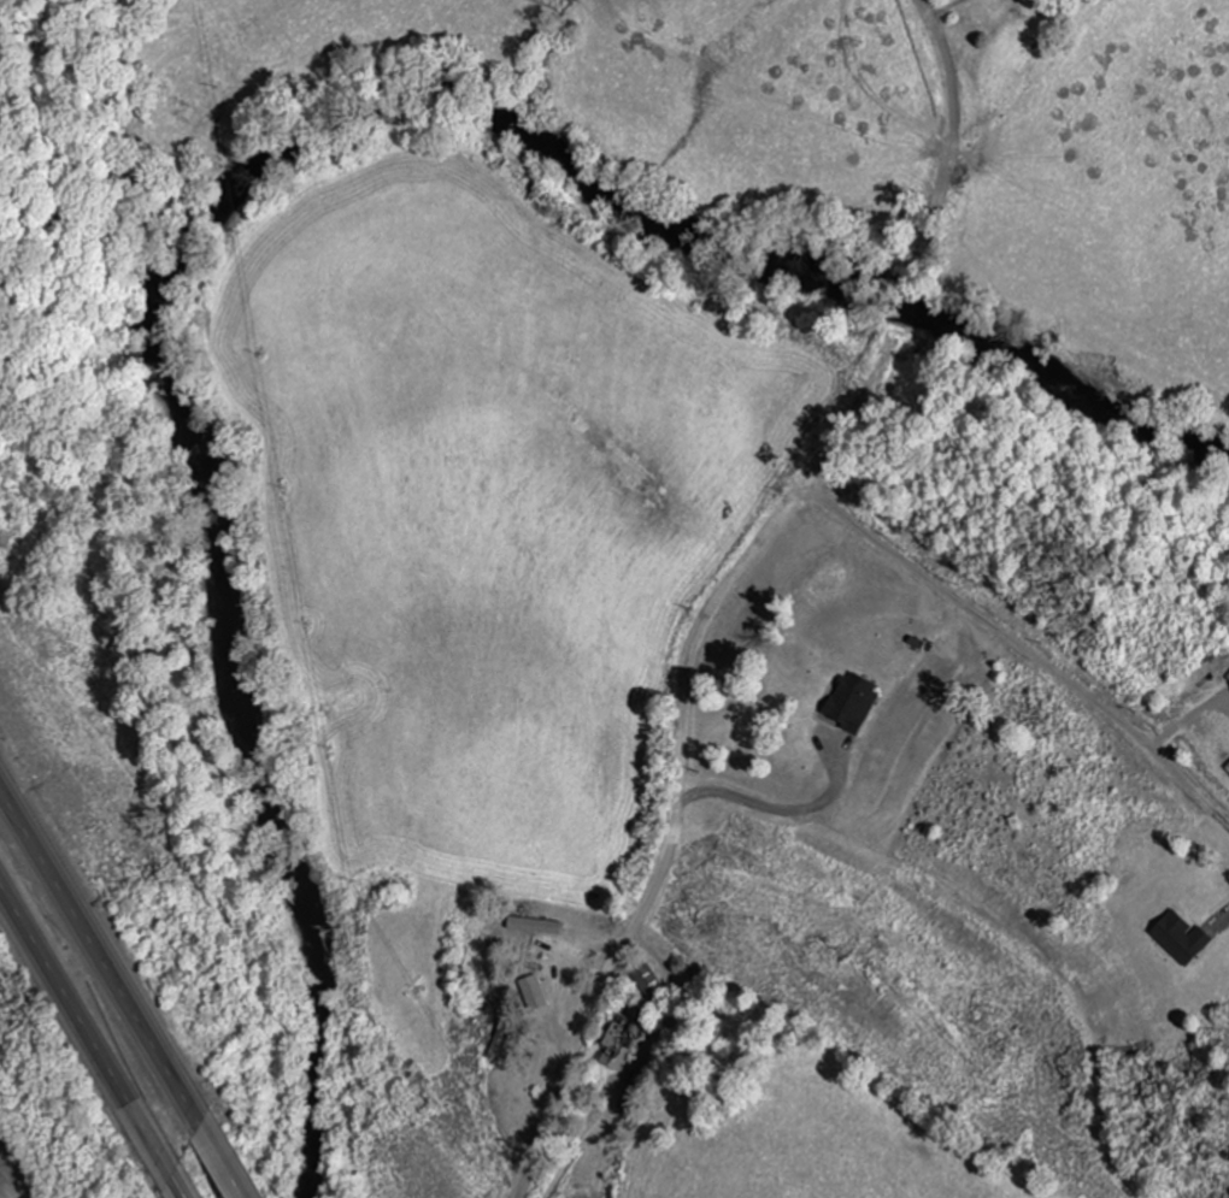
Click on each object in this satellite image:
road: (948, 141)
building: (851, 702)
building: (1227, 768)
building: (1180, 939)
road: (104, 950)
building: (647, 978)
building: (533, 993)
road: (88, 1029)
road: (228, 1163)
road: (183, 1188)

